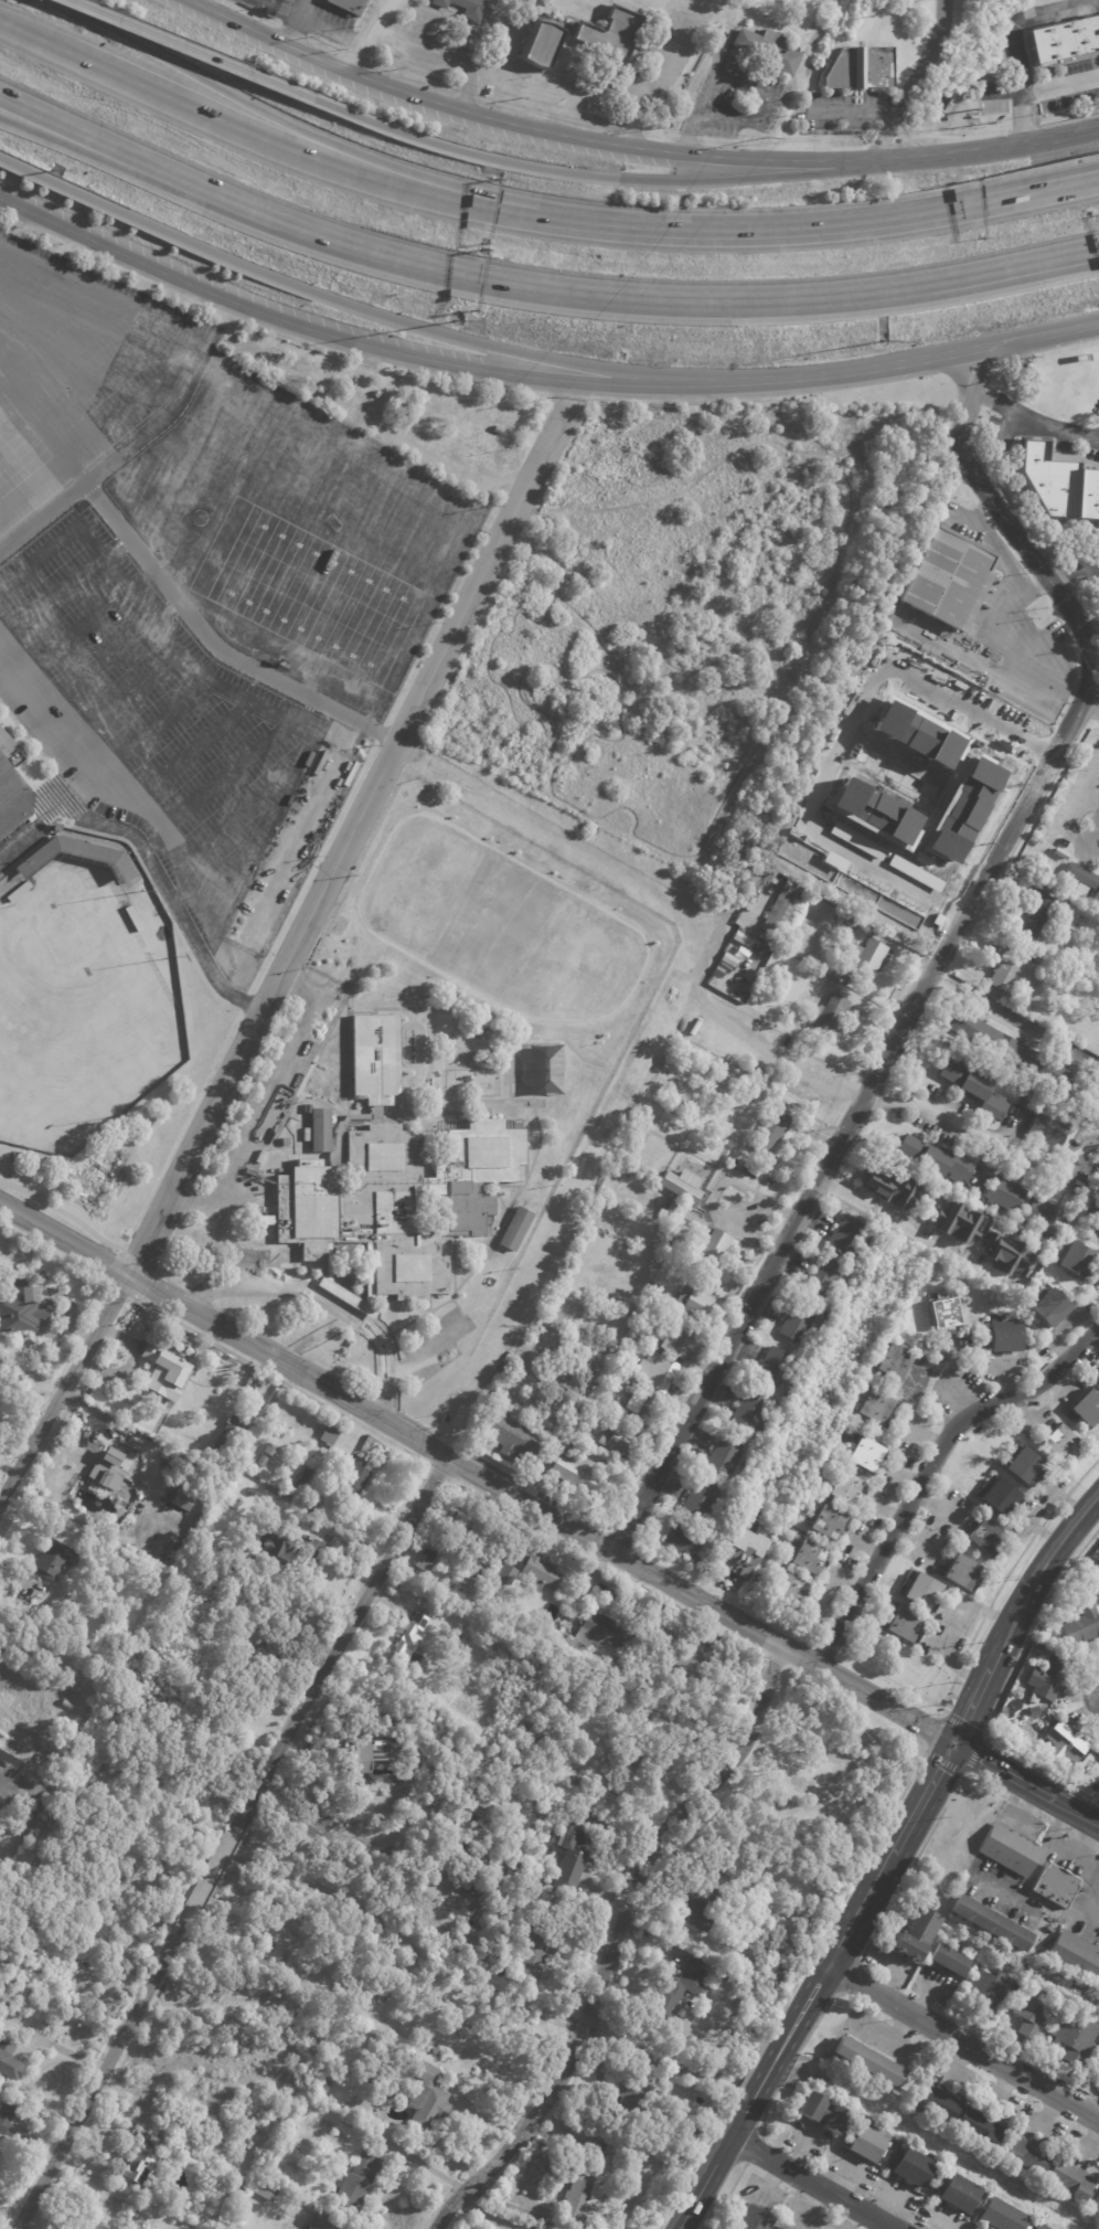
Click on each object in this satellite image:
building: (353, 6)
road: (302, 8)
building: (468, 8)
road: (291, 28)
road: (331, 30)
road: (370, 34)
building: (612, 35)
building: (741, 40)
road: (1016, 42)
building: (1064, 42)
building: (544, 46)
road: (189, 51)
building: (770, 56)
road: (77, 63)
building: (860, 68)
road: (913, 83)
road: (744, 86)
road: (1042, 92)
road: (237, 97)
road: (854, 113)
road: (1069, 119)
road: (520, 127)
road: (1024, 129)
road: (960, 137)
road: (89, 139)
road: (889, 141)
road: (907, 142)
road: (841, 148)
road: (285, 150)
road: (88, 151)
road: (984, 151)
street lamp: (52, 169)
road: (587, 178)
road: (758, 230)
road: (19, 280)
road: (321, 297)
road: (632, 300)
road: (264, 311)
road: (40, 317)
street lamp: (455, 319)
road: (189, 335)
road: (1033, 339)
street lamp: (883, 341)
road: (1045, 348)
road: (61, 353)
road: (963, 367)
road: (452, 376)
road: (814, 376)
road: (602, 382)
road: (83, 389)
road: (1034, 418)
road: (102, 427)
building: (509, 434)
building: (1057, 482)
road: (42, 517)
road: (113, 566)
road: (1070, 571)
building: (942, 577)
parking lot: (198, 583)
road: (1037, 585)
road: (64, 590)
road: (171, 593)
road: (1014, 602)
road: (1097, 623)
road: (73, 634)
road: (1095, 651)
road: (110, 657)
road: (1098, 698)
road: (124, 699)
road: (306, 711)
road: (1089, 711)
road: (1093, 711)
road: (46, 718)
road: (1046, 731)
road: (151, 733)
building: (916, 733)
road: (843, 736)
road: (1037, 746)
road: (188, 753)
road: (227, 774)
road: (291, 779)
road: (1089, 784)
road: (1048, 788)
building: (12, 797)
road: (1089, 804)
building: (959, 808)
building: (873, 809)
road: (238, 819)
road: (993, 827)
building: (60, 828)
road: (1068, 832)
road: (349, 836)
road: (169, 838)
road: (151, 866)
building: (24, 869)
building: (765, 873)
building: (1080, 875)
road: (949, 907)
building: (779, 910)
building: (1034, 914)
building: (853, 923)
building: (1095, 928)
building: (737, 937)
road: (932, 937)
road: (941, 955)
building: (723, 958)
building: (1069, 958)
building: (861, 959)
building: (712, 970)
building: (1010, 972)
building: (813, 979)
park: (79, 1006)
building: (829, 1017)
road: (1012, 1018)
building: (1005, 1048)
road: (777, 1058)
building: (540, 1071)
parking lot: (275, 1080)
building: (724, 1083)
building: (973, 1089)
road: (267, 1101)
building: (1093, 1101)
building: (1025, 1105)
building: (772, 1132)
building: (1046, 1132)
road: (984, 1136)
building: (285, 1142)
building: (933, 1158)
road: (845, 1159)
building: (395, 1178)
building: (681, 1186)
road: (831, 1187)
building: (889, 1190)
road: (713, 1192)
road: (244, 1195)
building: (1003, 1195)
building: (1084, 1198)
road: (63, 1212)
parking lot: (741, 1213)
building: (1042, 1216)
building: (690, 1218)
building: (1092, 1218)
building: (263, 1219)
building: (958, 1223)
road: (906, 1228)
building: (514, 1229)
building: (843, 1235)
road: (64, 1239)
building: (713, 1251)
building: (1004, 1254)
building: (1075, 1260)
road: (256, 1265)
road: (150, 1270)
building: (820, 1278)
building: (733, 1285)
road: (196, 1297)
road: (323, 1302)
building: (692, 1304)
building: (1048, 1307)
building: (22, 1309)
building: (945, 1313)
building: (829, 1316)
building: (796, 1324)
building: (1003, 1336)
building: (680, 1340)
parking lot: (433, 1347)
road: (289, 1351)
road: (426, 1351)
building: (893, 1362)
road: (287, 1366)
building: (771, 1368)
road: (395, 1372)
building: (170, 1373)
building: (658, 1373)
road: (284, 1379)
road: (64, 1388)
building: (497, 1389)
road: (383, 1403)
building: (641, 1407)
building: (874, 1408)
building: (1087, 1408)
building: (748, 1411)
building: (223, 1413)
building: (446, 1419)
road: (409, 1420)
building: (328, 1434)
building: (511, 1436)
road: (452, 1439)
building: (231, 1440)
building: (618, 1440)
building: (1060, 1444)
building: (271, 1450)
building: (864, 1454)
building: (724, 1456)
building: (263, 1461)
building: (248, 1463)
building: (1023, 1467)
building: (111, 1468)
building: (353, 1468)
road: (929, 1469)
building: (575, 1471)
road: (437, 1473)
building: (305, 1482)
road: (535, 1485)
building: (843, 1488)
building: (253, 1492)
building: (188, 1497)
building: (698, 1499)
building: (999, 1499)
building: (825, 1524)
building: (457, 1531)
road: (623, 1537)
building: (982, 1537)
building: (682, 1540)
building: (278, 1551)
building: (738, 1551)
building: (808, 1558)
building: (55, 1559)
building: (424, 1560)
road: (610, 1565)
building: (490, 1568)
building: (1084, 1569)
building: (961, 1572)
building: (542, 1574)
road: (1039, 1574)
building: (503, 1575)
building: (788, 1591)
building: (920, 1592)
road: (726, 1594)
road: (698, 1601)
building: (900, 1624)
road: (978, 1626)
building: (1079, 1627)
building: (606, 1631)
building: (674, 1634)
road: (343, 1636)
building: (260, 1639)
building: (572, 1641)
building: (412, 1642)
building: (1037, 1644)
building: (673, 1647)
road: (825, 1652)
road: (772, 1665)
building: (691, 1669)
building: (1045, 1679)
road: (1003, 1689)
road: (973, 1702)
building: (68, 1705)
building: (1032, 1711)
road: (845, 1715)
road: (924, 1723)
building: (396, 1728)
building: (540, 1742)
building: (1063, 1742)
traffic signals: (952, 1743)
building: (378, 1754)
road: (941, 1763)
building: (636, 1773)
road: (1025, 1783)
road: (921, 1797)
building: (483, 1801)
road: (1034, 1813)
road: (1066, 1832)
road: (1084, 1841)
road: (922, 1846)
building: (1010, 1848)
building: (577, 1849)
road: (1098, 1849)
road: (1043, 1854)
road: (1074, 1854)
building: (484, 1856)
road: (210, 1875)
building: (1052, 1882)
building: (473, 1883)
road: (1004, 1892)
building: (703, 1908)
building: (989, 1921)
road: (1098, 1924)
building: (914, 1931)
building: (281, 1943)
road: (613, 1943)
building: (541, 1952)
building: (1071, 1952)
building: (948, 1959)
building: (1048, 1968)
road: (849, 1976)
building: (1096, 1976)
road: (794, 1984)
building: (990, 1986)
building: (677, 1992)
building: (1029, 2015)
building: (1073, 2038)
road: (785, 2040)
road: (963, 2042)
building: (319, 2047)
building: (437, 2051)
road: (791, 2060)
building: (864, 2060)
building: (10, 2062)
road: (97, 2081)
building: (322, 2085)
road: (1088, 2094)
building: (429, 2100)
building: (932, 2101)
building: (631, 2108)
building: (822, 2112)
building: (8, 2116)
building: (344, 2119)
building: (978, 2126)
building: (864, 2144)
road: (753, 2150)
building: (613, 2151)
building: (642, 2152)
building: (1026, 2153)
building: (138, 2163)
building: (911, 2167)
building: (1069, 2178)
building: (359, 2180)
road: (810, 2183)
building: (260, 2186)
building: (588, 2193)
building: (958, 2195)
building: (154, 2196)
road: (726, 2196)
building: (1096, 2201)
building: (164, 2205)
building: (1001, 2215)
building: (316, 2219)
building: (755, 2219)
building: (90, 2226)
building: (1038, 2226)
building: (779, 2228)
building: (788, 2228)

